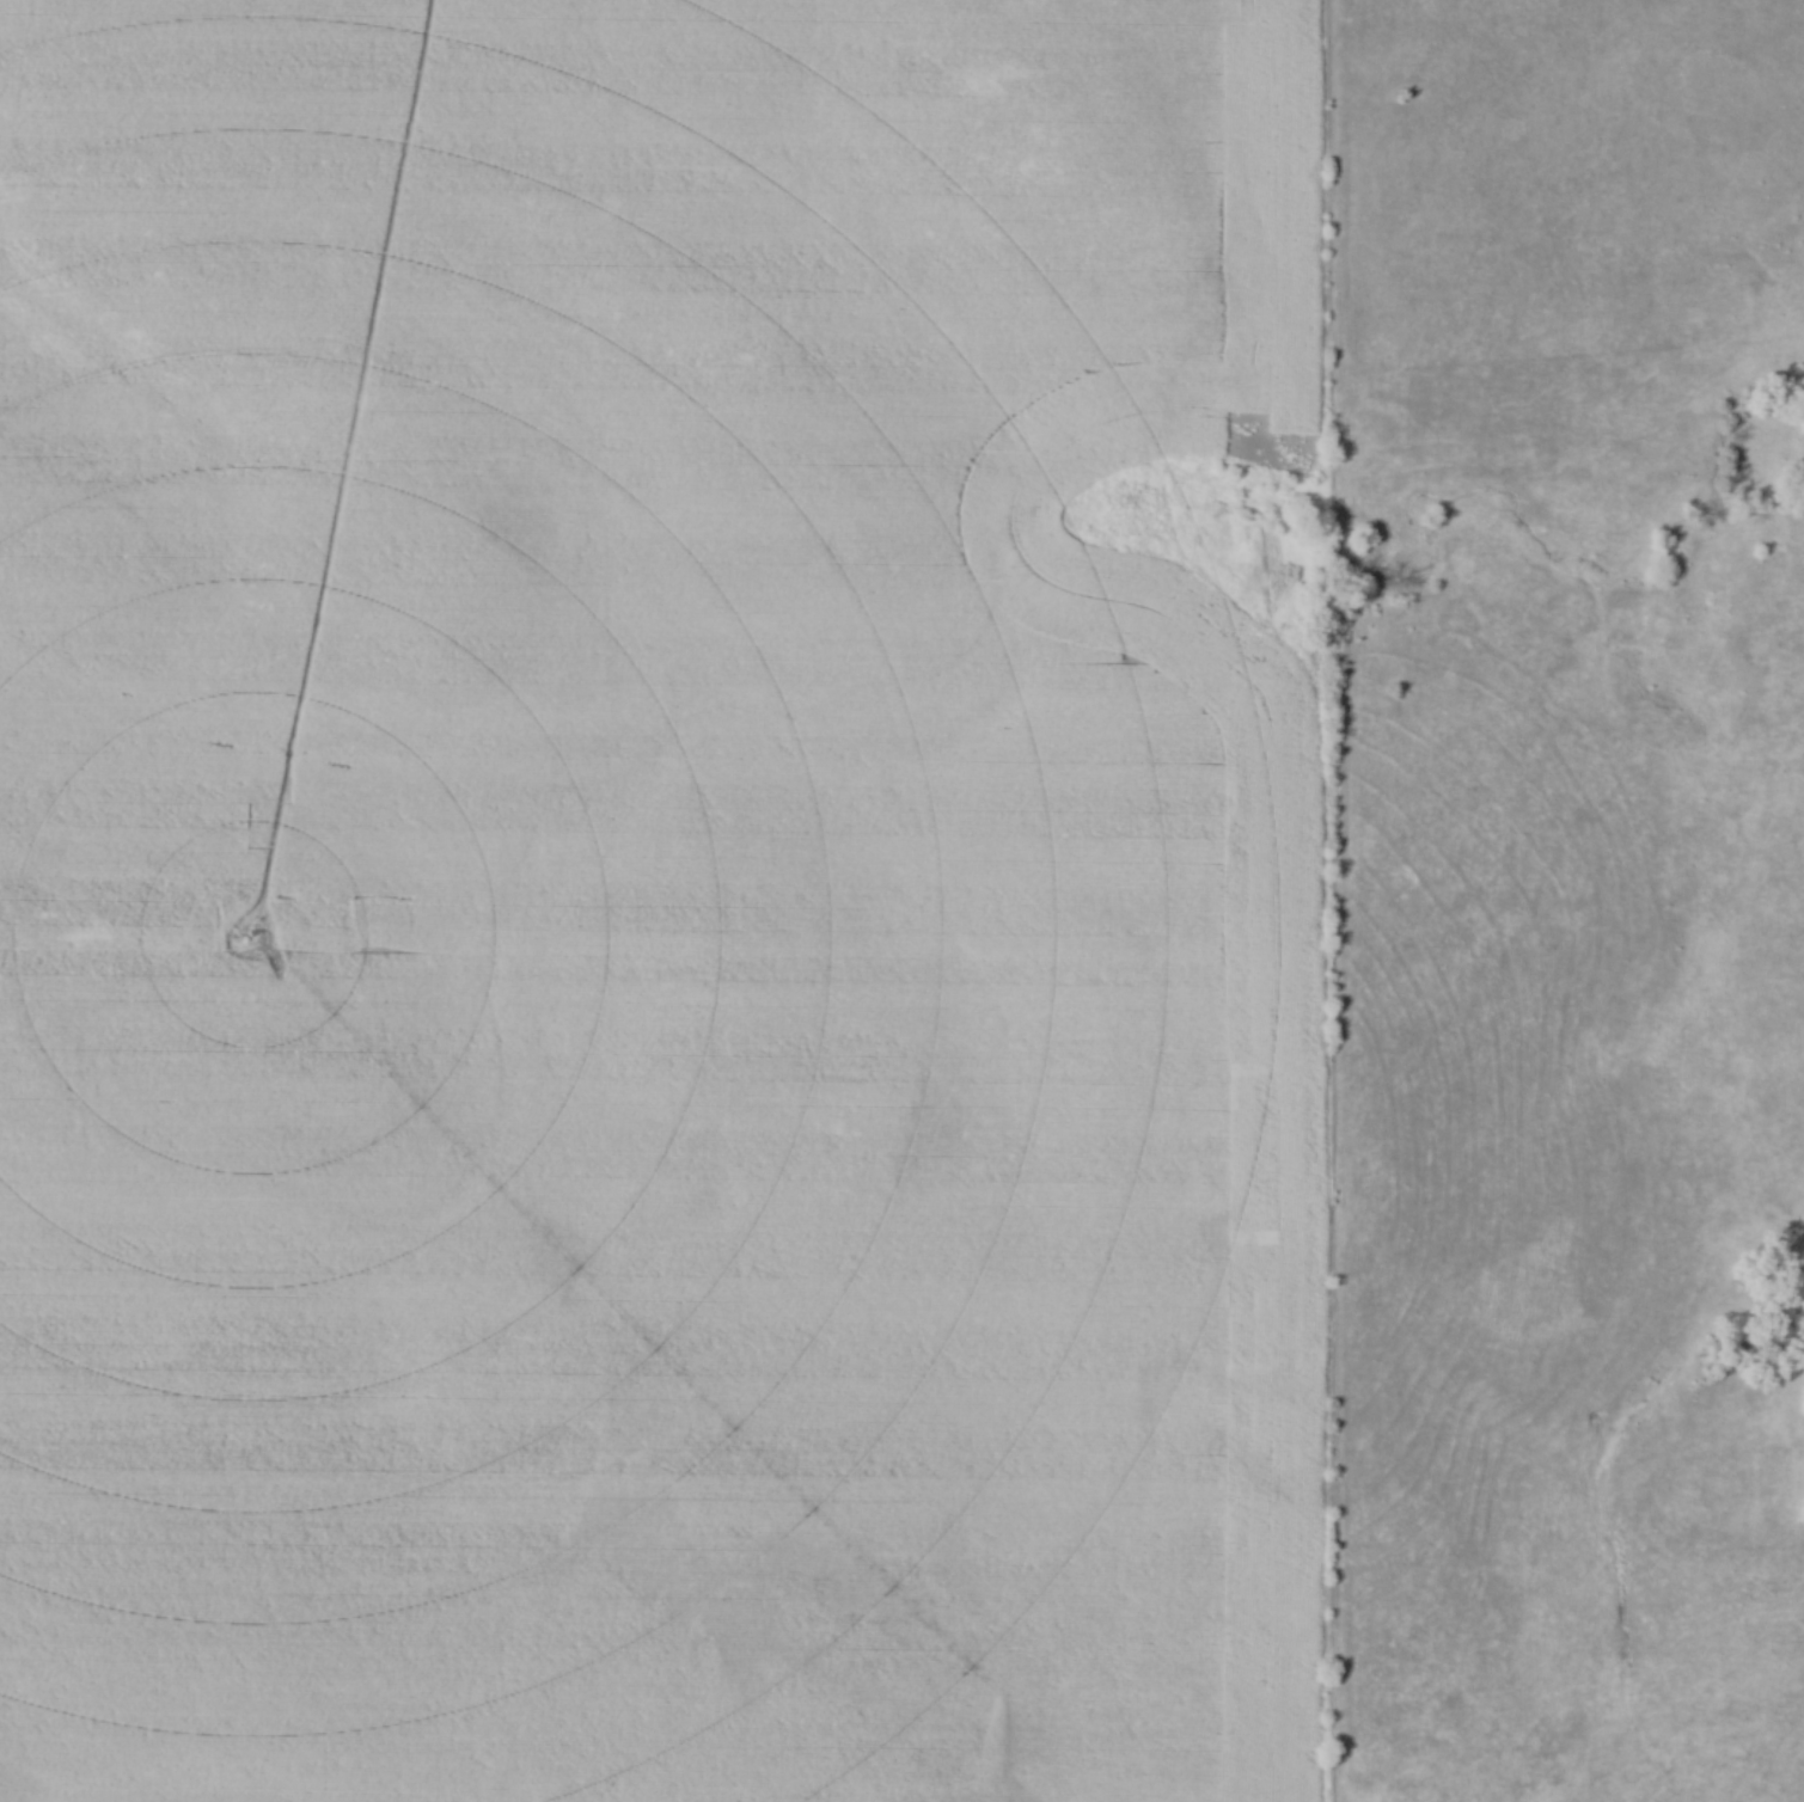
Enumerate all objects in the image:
river: (1787, 1320)

